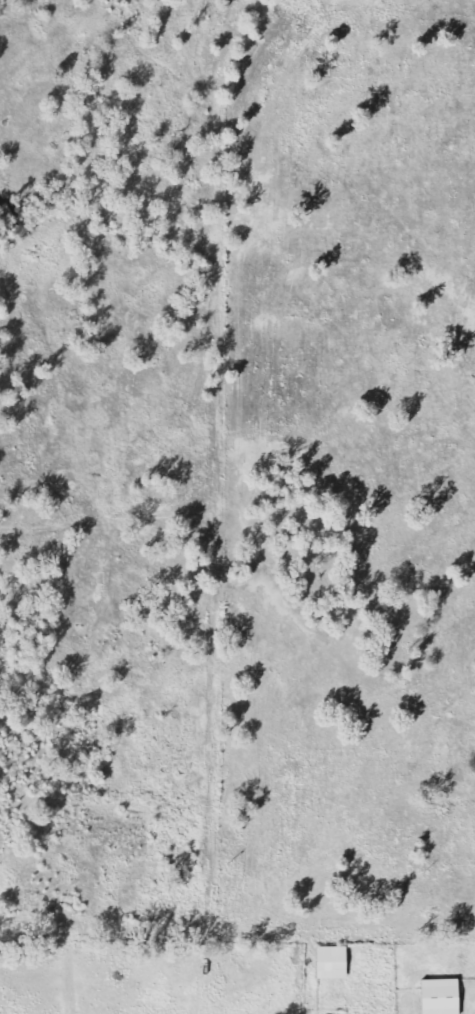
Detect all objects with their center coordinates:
building: (335, 963)
building: (445, 996)

